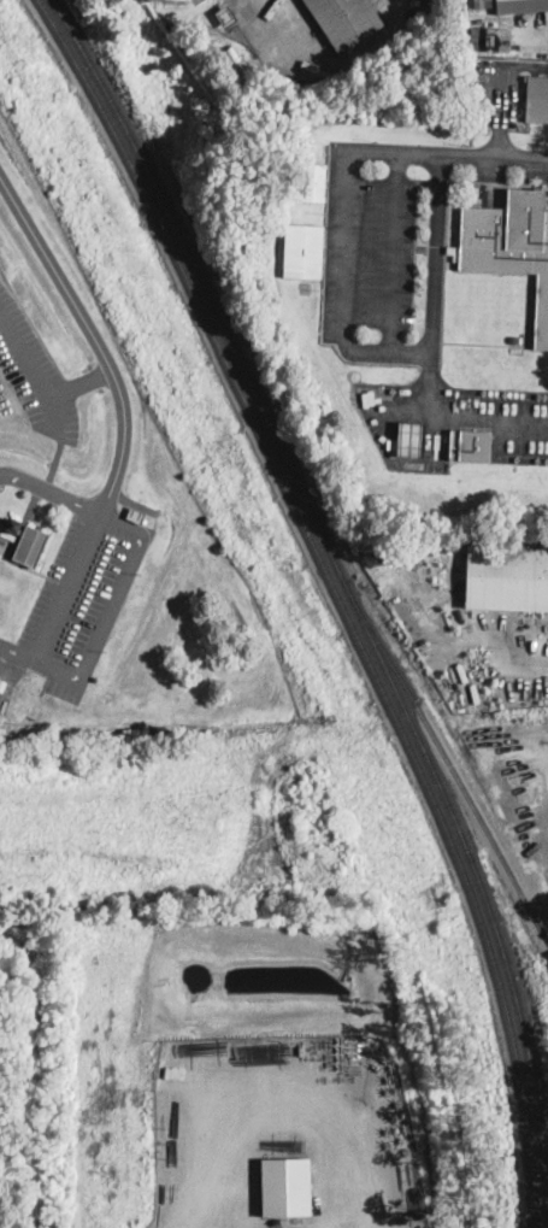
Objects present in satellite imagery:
building: (514, 6)
parking lot: (251, 8)
parking lot: (406, 12)
building: (226, 16)
building: (346, 20)
building: (490, 40)
building: (234, 52)
parking lot: (500, 86)
road: (500, 86)
building: (537, 99)
railway: (155, 102)
road: (448, 153)
building: (314, 182)
building: (509, 245)
building: (305, 251)
road: (435, 275)
road: (95, 336)
road: (369, 351)
railway: (240, 358)
road: (35, 371)
road: (79, 382)
building: (408, 439)
building: (471, 445)
road: (52, 489)
building: (136, 513)
building: (8, 534)
building: (28, 541)
building: (505, 576)
railway: (340, 595)
road: (464, 640)
road: (18, 652)
building: (0, 672)
building: (0, 676)
road: (78, 678)
building: (96, 734)
railway: (458, 776)
building: (275, 876)
railway: (503, 953)
building: (285, 1185)

